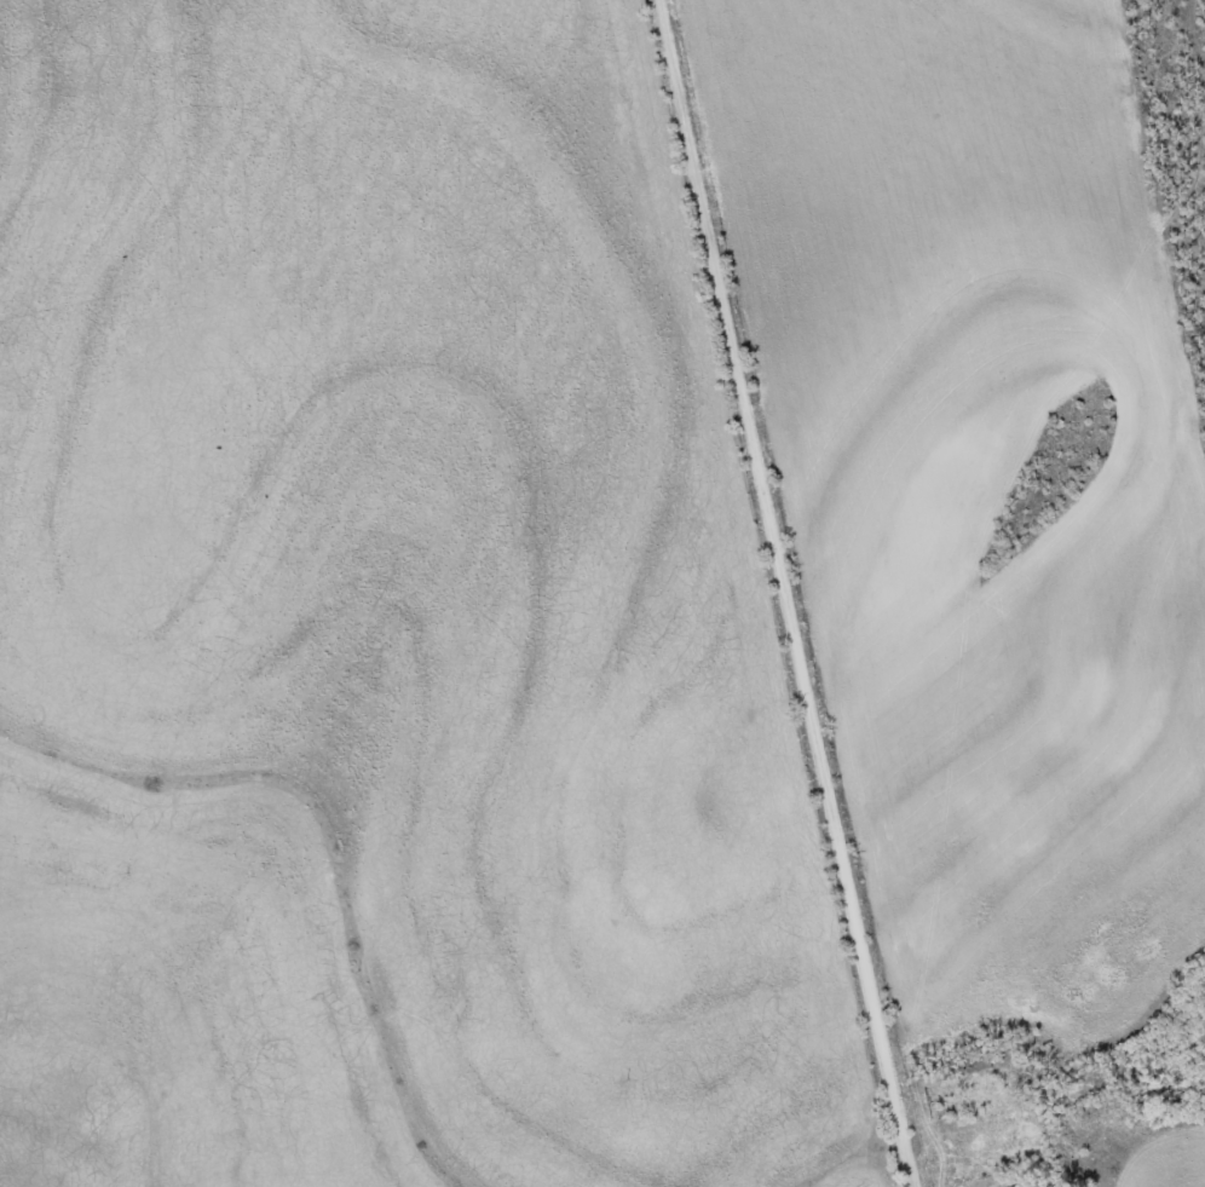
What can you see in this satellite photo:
road: (1188, 323)
road: (778, 593)
road: (1030, 1007)

